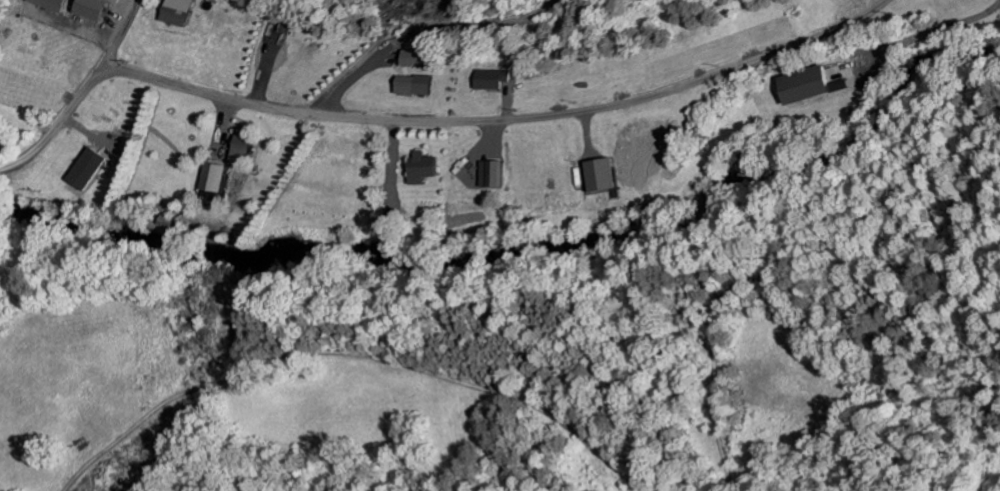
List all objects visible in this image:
building: (45, 6)
building: (169, 14)
building: (405, 60)
building: (485, 82)
building: (408, 89)
building: (803, 89)
road: (81, 95)
road: (506, 113)
building: (238, 152)
building: (421, 171)
building: (84, 173)
building: (488, 177)
building: (600, 179)
building: (210, 181)

